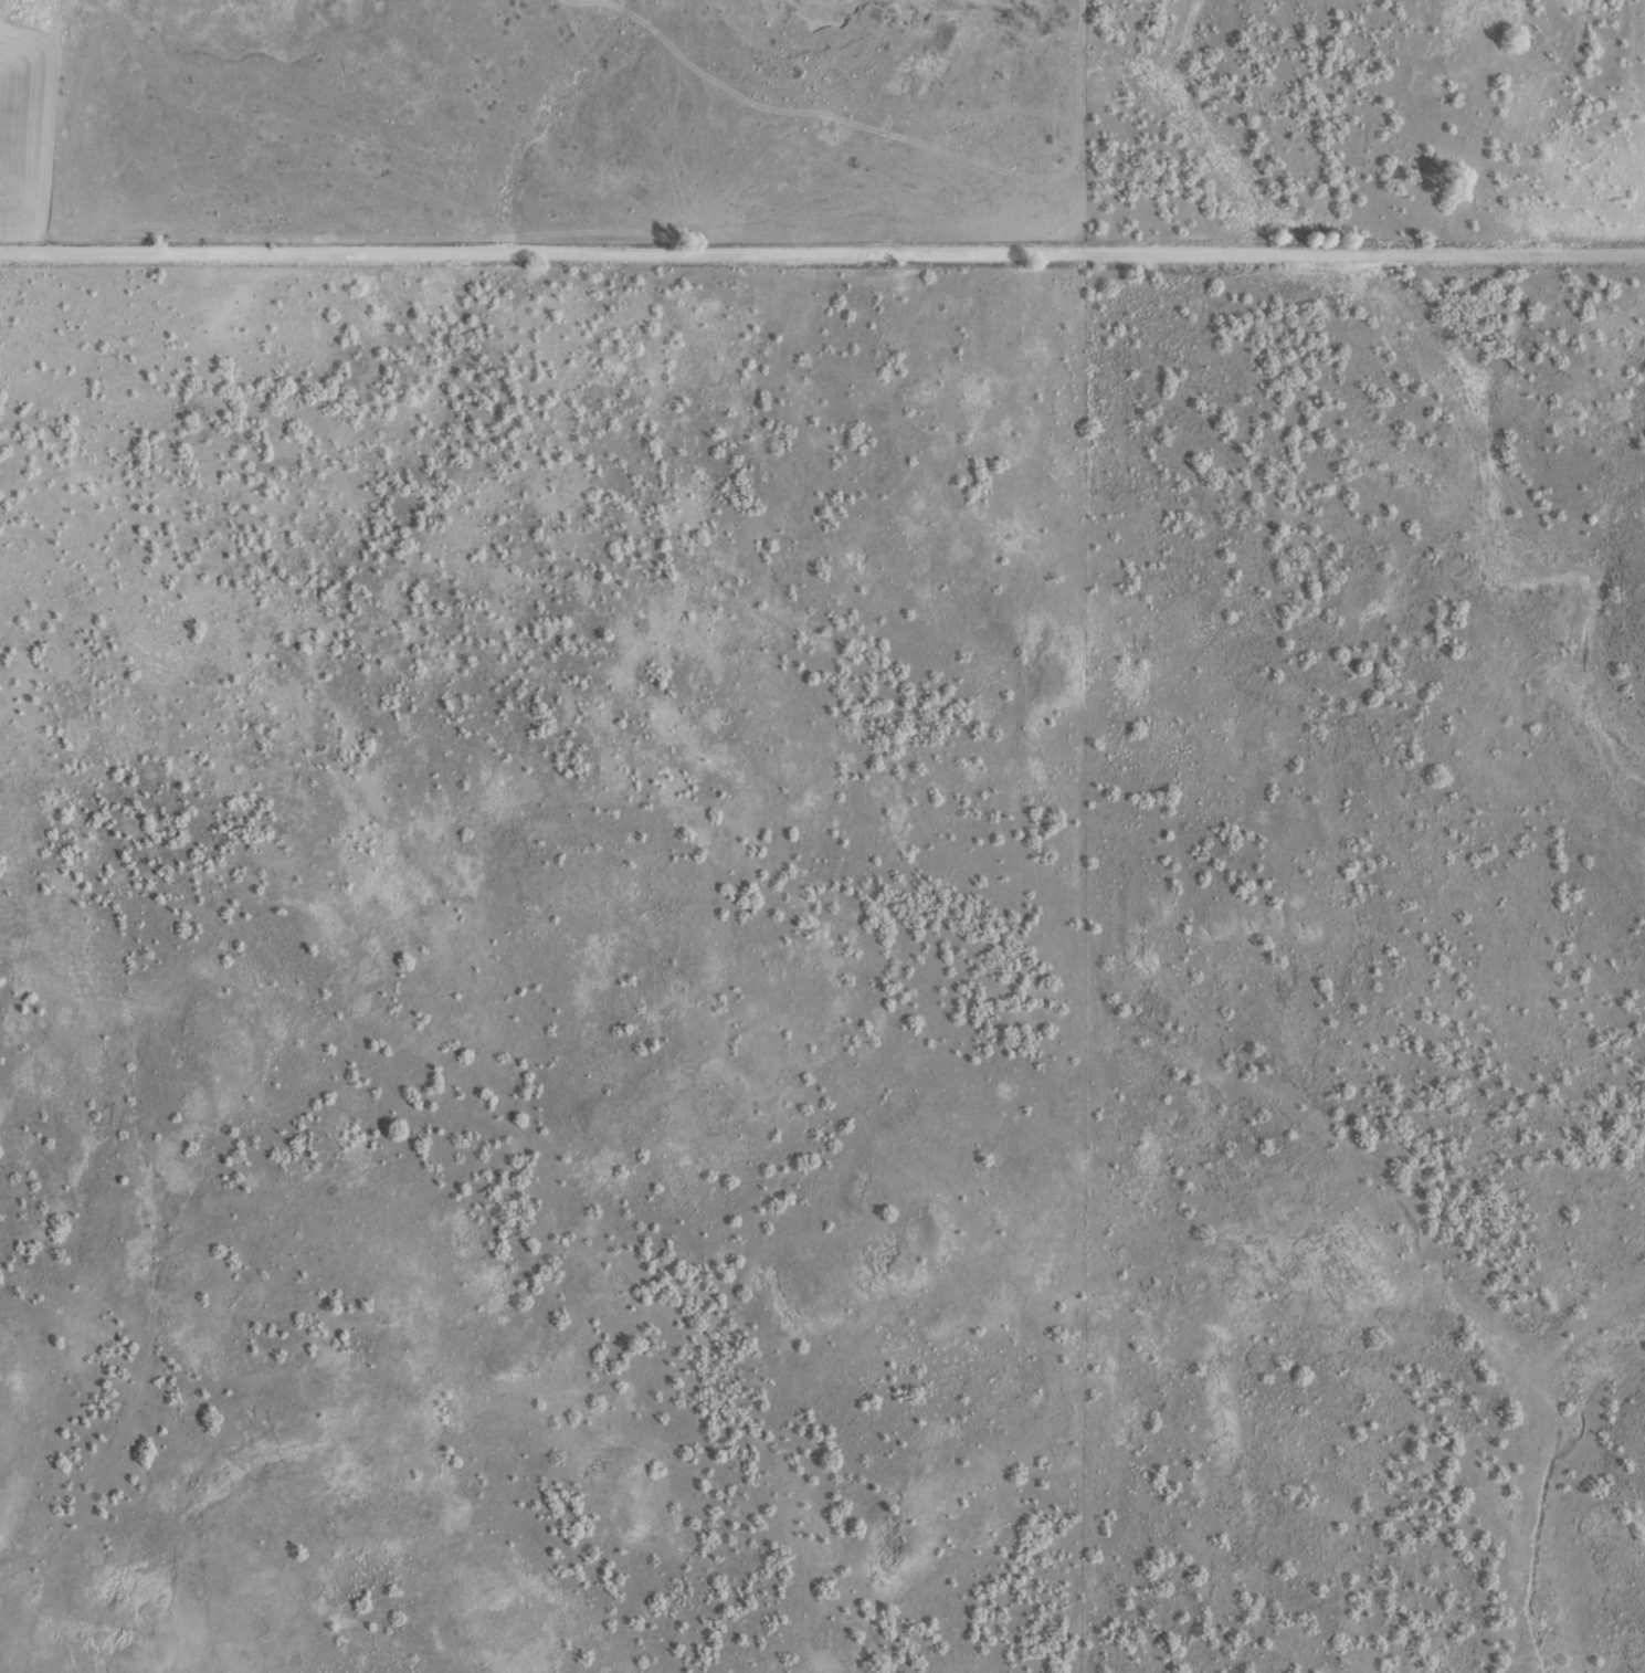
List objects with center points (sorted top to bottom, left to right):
road: (822, 253)

